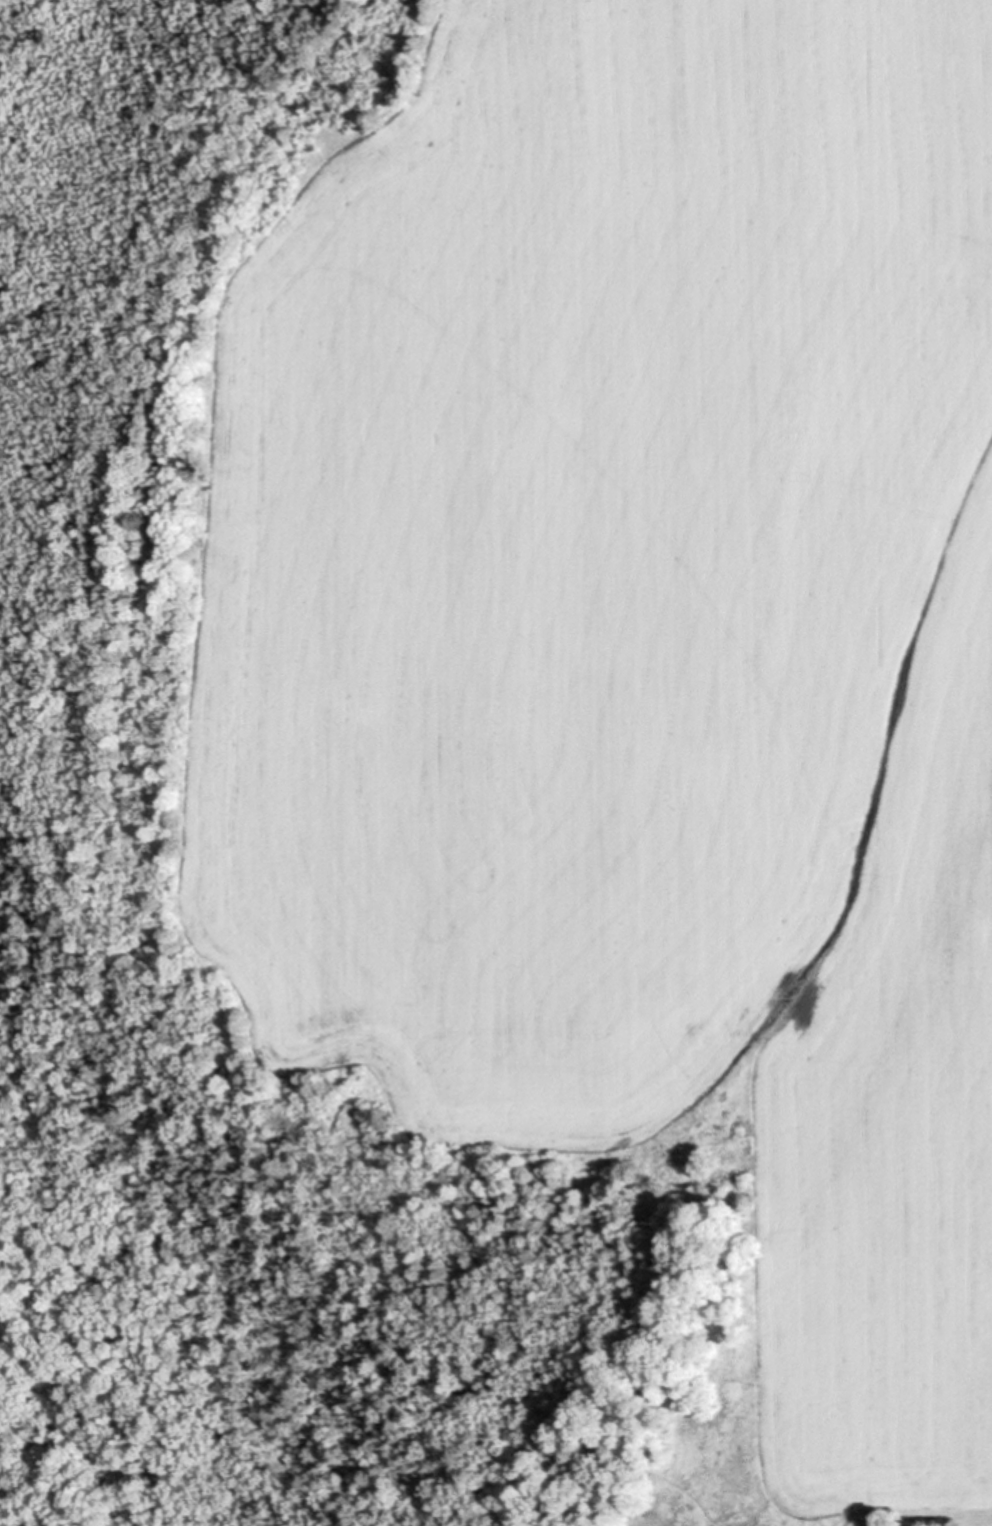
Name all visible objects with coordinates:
road: (83, 1414)

